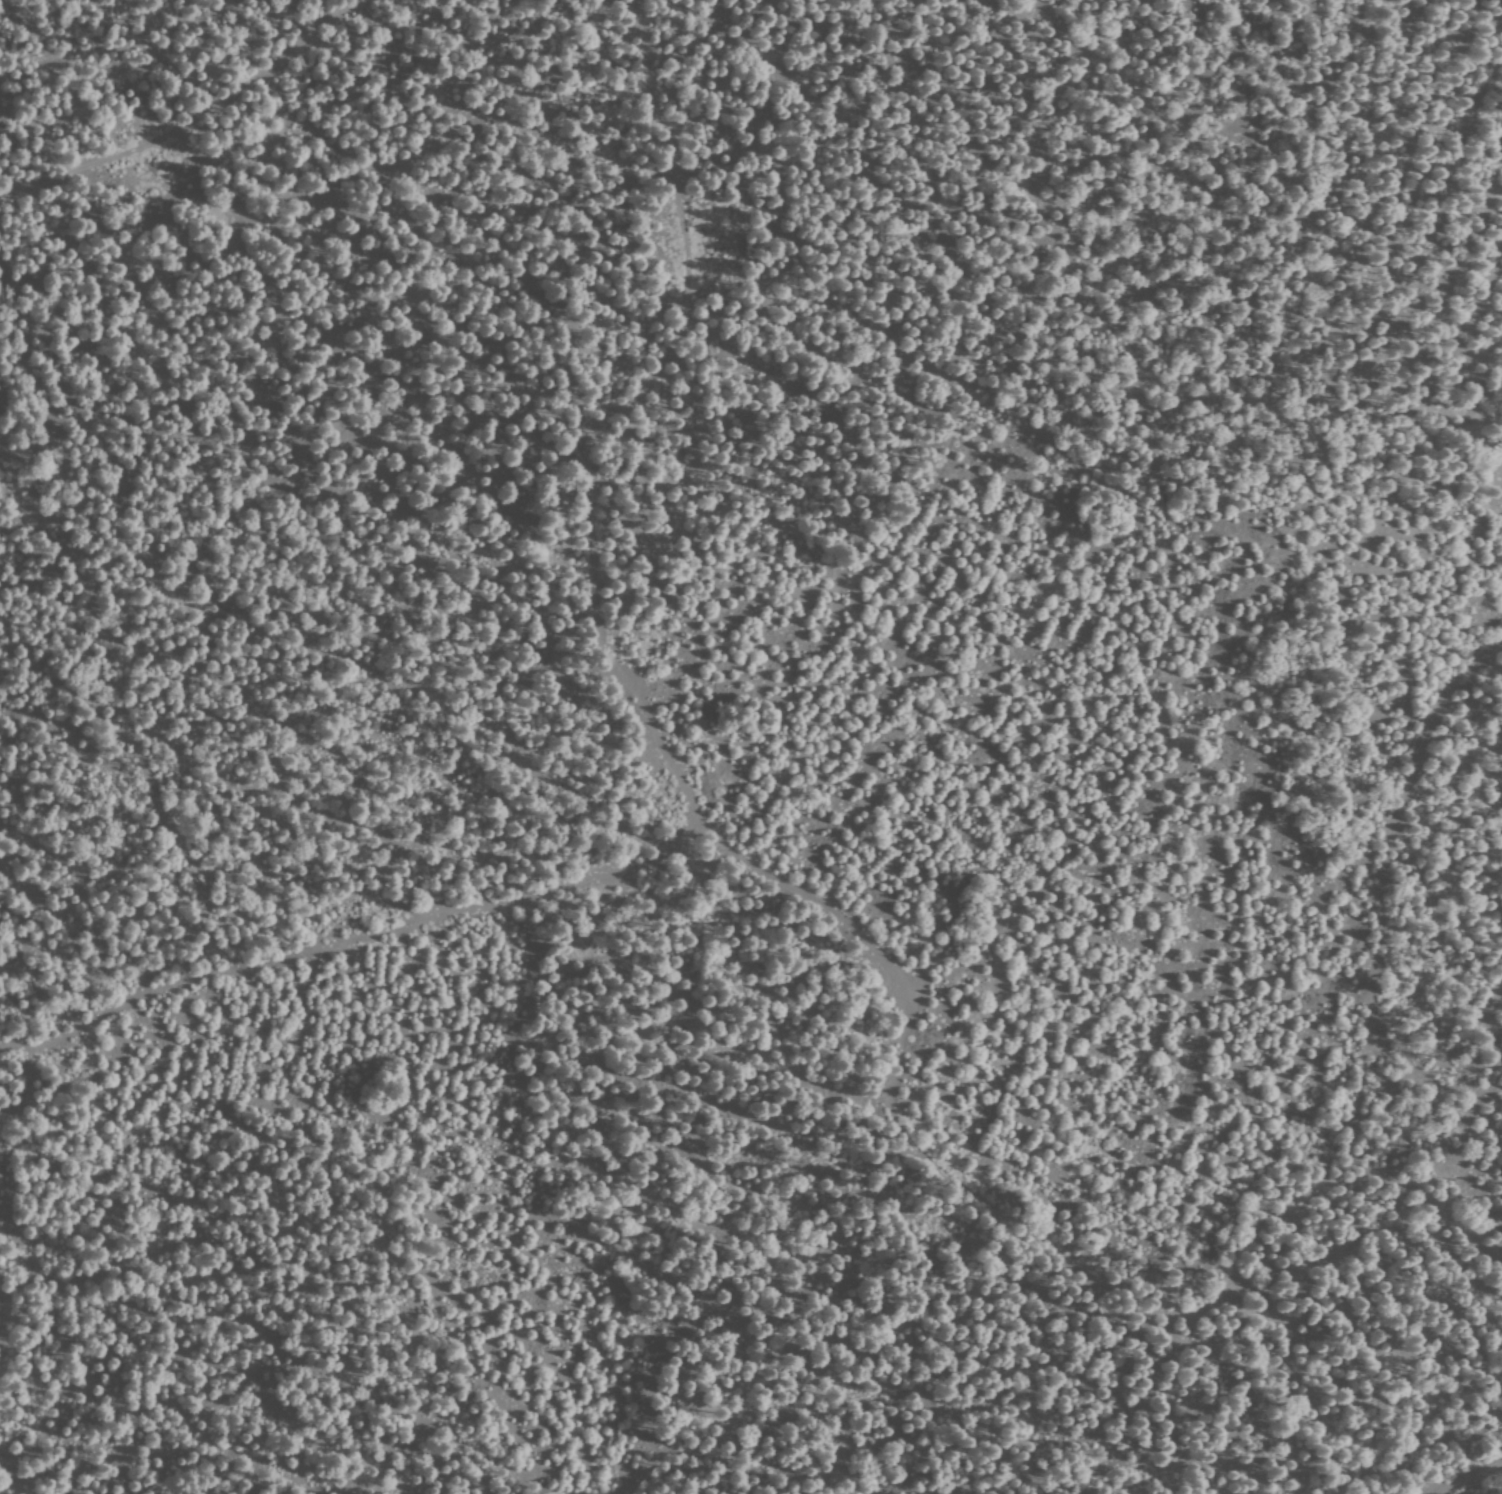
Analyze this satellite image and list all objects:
road: (1469, 1476)

